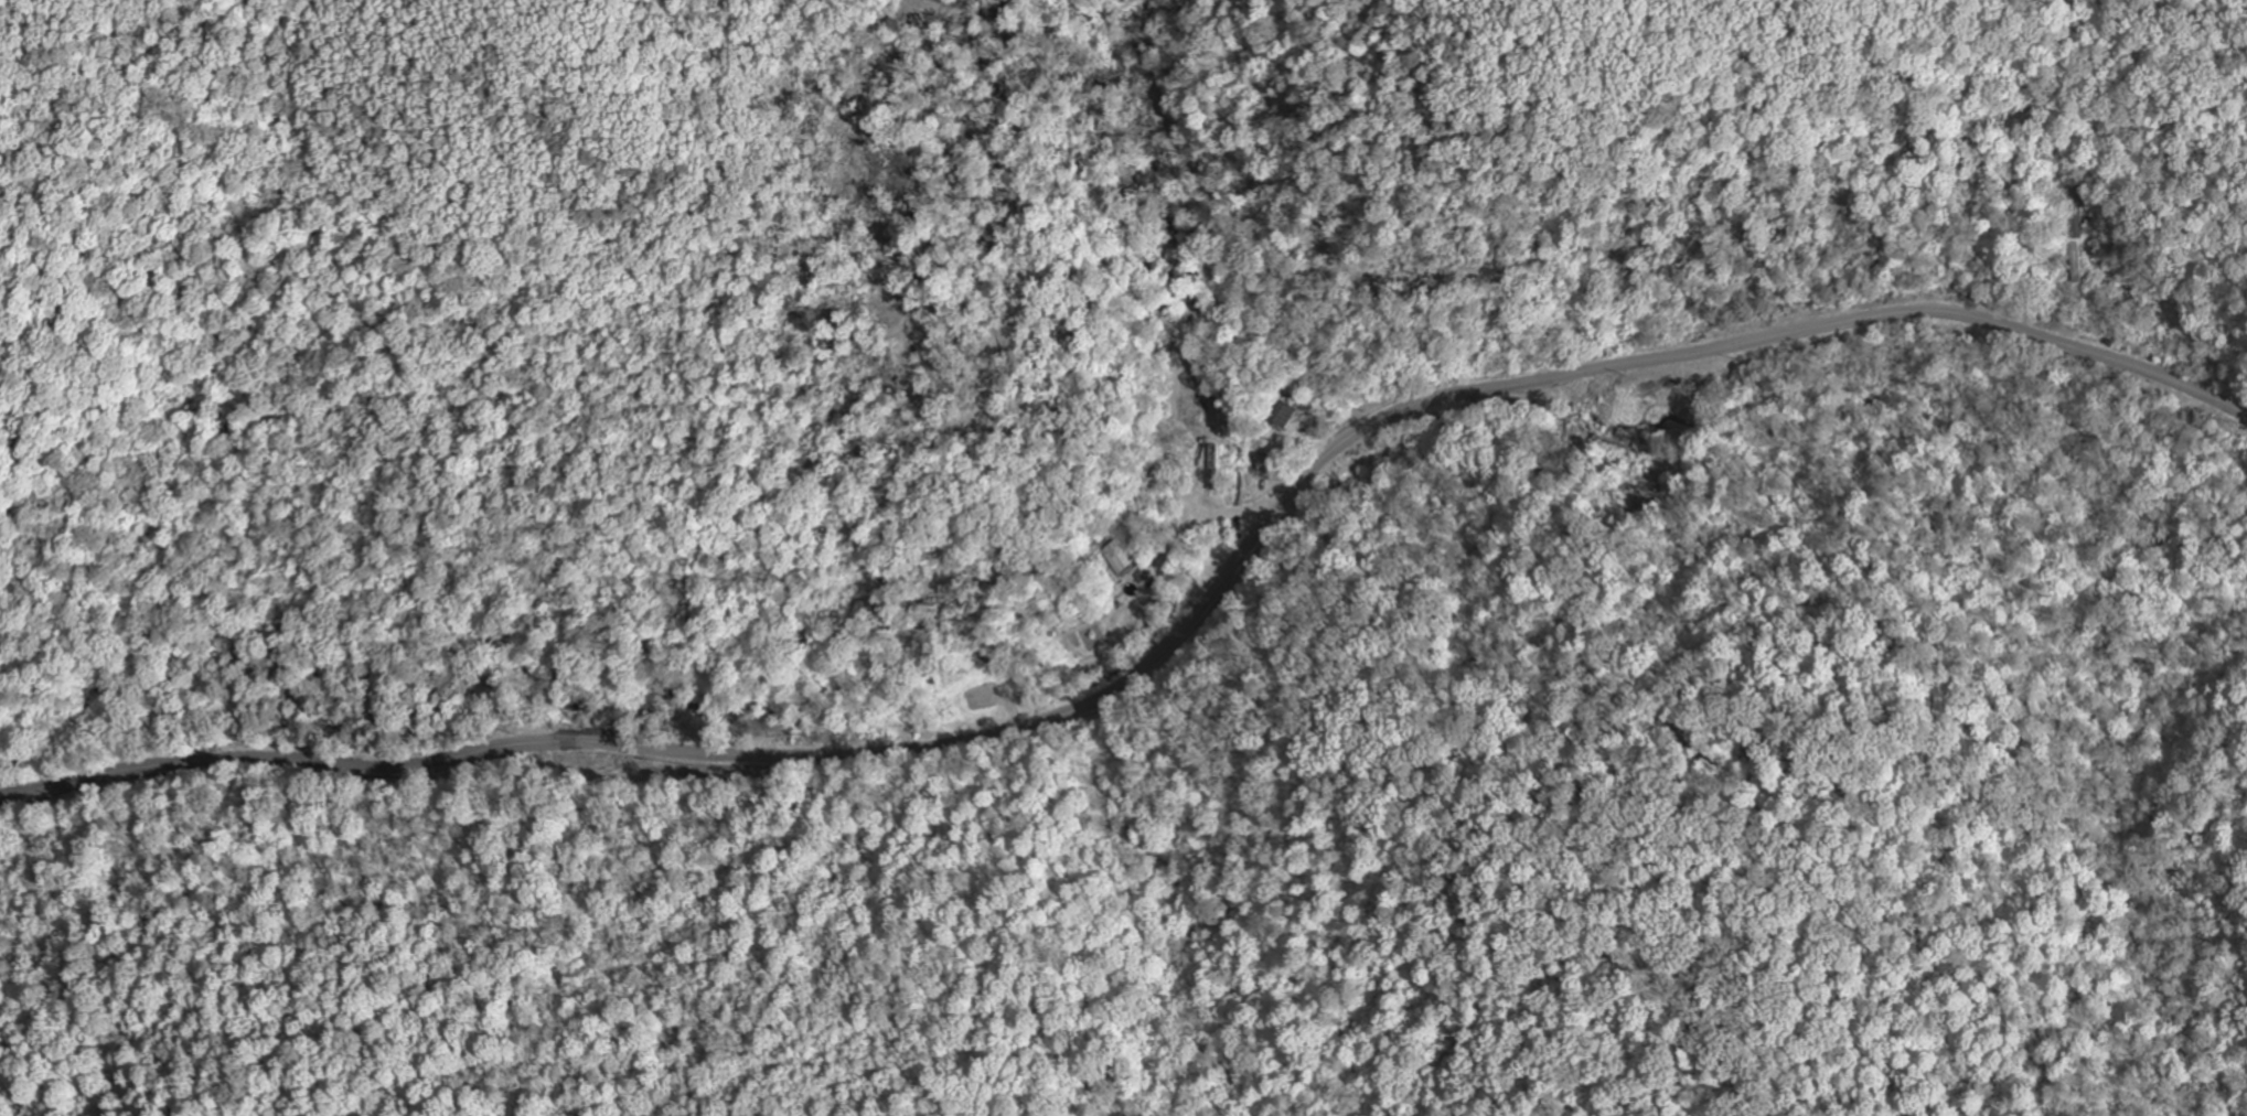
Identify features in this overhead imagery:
road: (2143, 323)
road: (1169, 643)

